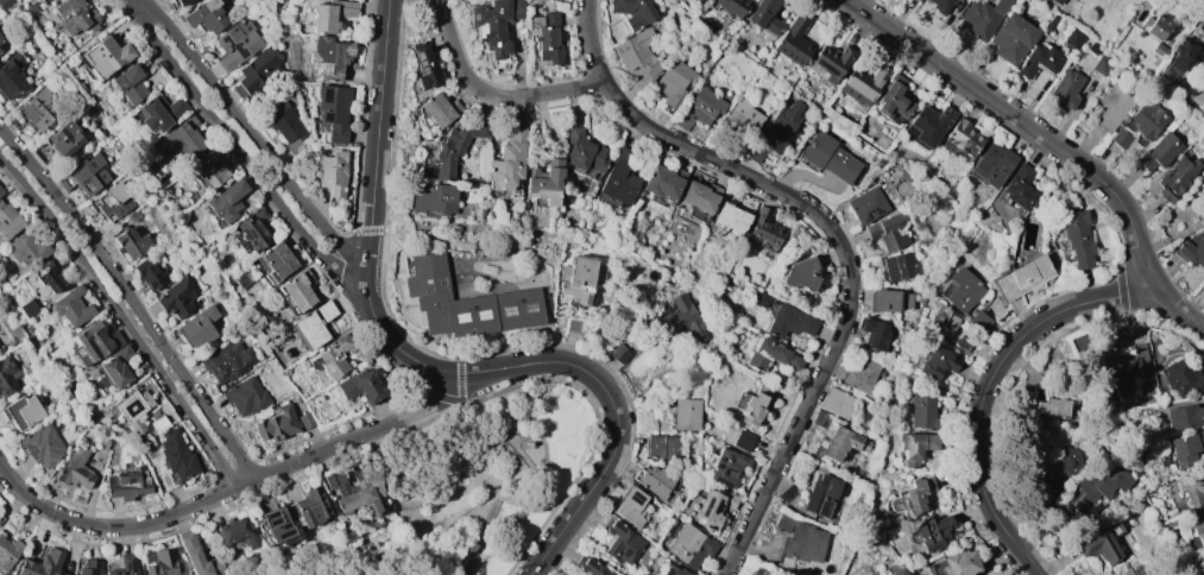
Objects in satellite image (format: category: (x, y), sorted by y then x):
building: (45, 0)
building: (918, 0)
building: (1057, 1)
building: (5, 4)
building: (176, 4)
building: (940, 5)
building: (732, 6)
road: (143, 7)
building: (632, 12)
building: (330, 14)
building: (204, 15)
building: (75, 17)
building: (764, 17)
building: (982, 17)
building: (1051, 23)
building: (494, 24)
building: (1155, 27)
building: (546, 36)
building: (1203, 36)
building: (1011, 38)
building: (1073, 38)
building: (0, 39)
building: (793, 40)
building: (235, 43)
building: (1092, 49)
building: (1159, 51)
building: (638, 55)
building: (1185, 55)
building: (105, 56)
road: (67, 57)
building: (329, 57)
building: (1039, 61)
building: (831, 62)
building: (423, 64)
building: (1101, 65)
building: (256, 72)
building: (10, 76)
building: (673, 82)
building: (130, 83)
building: (862, 84)
building: (1066, 88)
road: (492, 95)
building: (893, 99)
building: (1111, 107)
building: (87, 108)
building: (699, 108)
building: (36, 109)
building: (334, 110)
building: (159, 112)
building: (436, 112)
building: (743, 118)
building: (1146, 120)
building: (928, 124)
road: (1025, 124)
building: (284, 125)
building: (780, 126)
building: (963, 137)
building: (1120, 138)
building: (64, 139)
building: (179, 139)
road: (258, 141)
building: (455, 146)
building: (584, 151)
building: (1159, 151)
building: (755, 152)
road: (245, 156)
building: (828, 157)
building: (508, 160)
building: (992, 164)
building: (210, 166)
building: (332, 172)
building: (84, 175)
building: (619, 178)
building: (1174, 178)
building: (1203, 179)
building: (544, 181)
building: (662, 182)
building: (1019, 187)
building: (0, 190)
building: (699, 196)
building: (433, 198)
building: (227, 200)
building: (112, 204)
building: (866, 206)
building: (732, 215)
building: (8, 221)
building: (254, 228)
building: (764, 230)
building: (889, 230)
road: (839, 235)
building: (1077, 236)
building: (131, 242)
building: (26, 249)
building: (1191, 249)
building: (279, 260)
building: (897, 266)
building: (150, 273)
building: (800, 273)
building: (46, 277)
building: (575, 277)
building: (1022, 277)
building: (297, 289)
building: (963, 290)
road: (1123, 293)
building: (176, 298)
building: (758, 298)
road: (132, 299)
building: (889, 301)
building: (466, 302)
building: (73, 307)
building: (27, 308)
road: (1178, 309)
building: (324, 310)
building: (685, 317)
road: (124, 320)
building: (979, 320)
building: (789, 321)
building: (941, 322)
building: (572, 326)
building: (197, 327)
building: (309, 329)
building: (874, 334)
building: (94, 343)
building: (960, 345)
building: (619, 353)
building: (334, 355)
building: (771, 356)
building: (364, 358)
building: (227, 361)
building: (935, 361)
building: (116, 367)
building: (1130, 367)
road: (434, 369)
building: (858, 374)
building: (7, 375)
building: (1181, 377)
building: (360, 385)
building: (245, 397)
building: (754, 403)
building: (837, 403)
building: (1049, 406)
building: (922, 410)
building: (21, 411)
building: (138, 411)
building: (685, 413)
building: (1184, 416)
building: (305, 419)
building: (820, 419)
road: (979, 421)
building: (277, 424)
building: (103, 440)
building: (743, 440)
road: (508, 441)
building: (843, 443)
building: (42, 446)
road: (430, 447)
building: (663, 447)
building: (915, 447)
building: (1185, 448)
building: (176, 455)
building: (1064, 462)
building: (725, 466)
road: (548, 467)
building: (75, 468)
road: (480, 473)
road: (462, 474)
park: (485, 479)
building: (164, 480)
building: (654, 480)
building: (127, 484)
building: (1095, 487)
building: (1191, 487)
road: (228, 489)
building: (354, 493)
building: (787, 493)
building: (821, 495)
building: (913, 495)
road: (423, 503)
road: (11, 505)
building: (309, 507)
building: (631, 507)
building: (710, 507)
building: (275, 526)
building: (1198, 531)
building: (238, 532)
building: (932, 532)
road: (480, 537)
building: (800, 539)
building: (619, 542)
building: (1099, 544)
building: (689, 545)
building: (8, 552)
building: (198, 557)
building: (159, 561)
building: (40, 563)
building: (959, 563)
building: (125, 565)
building: (588, 565)
building: (88, 567)
building: (674, 570)
building: (759, 570)
building: (897, 571)
building: (63, 574)

